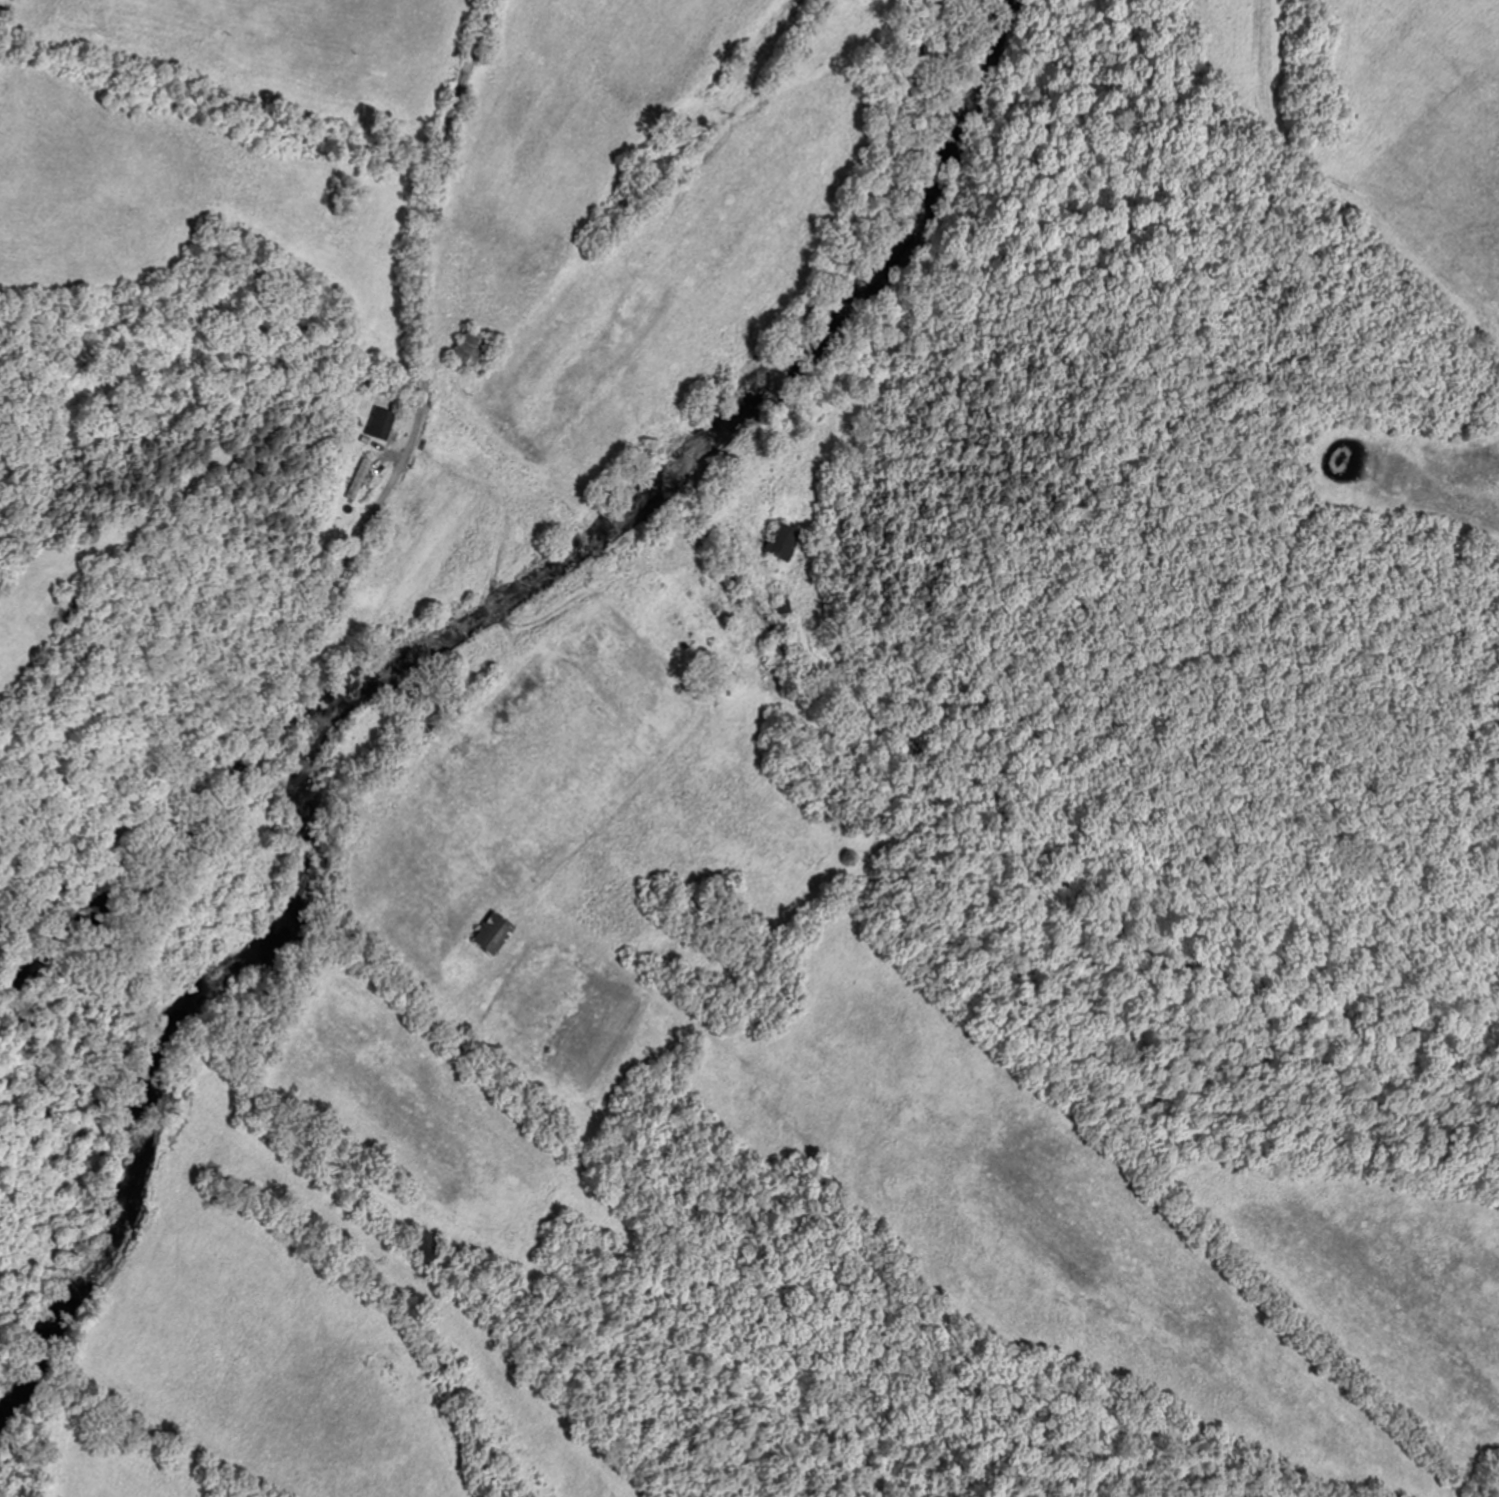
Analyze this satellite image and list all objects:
building: (474, 348)
building: (383, 422)
road: (526, 429)
building: (362, 477)
road: (719, 522)
road: (364, 527)
building: (785, 539)
building: (786, 607)
building: (497, 932)
road: (235, 1106)
building: (426, 1244)

